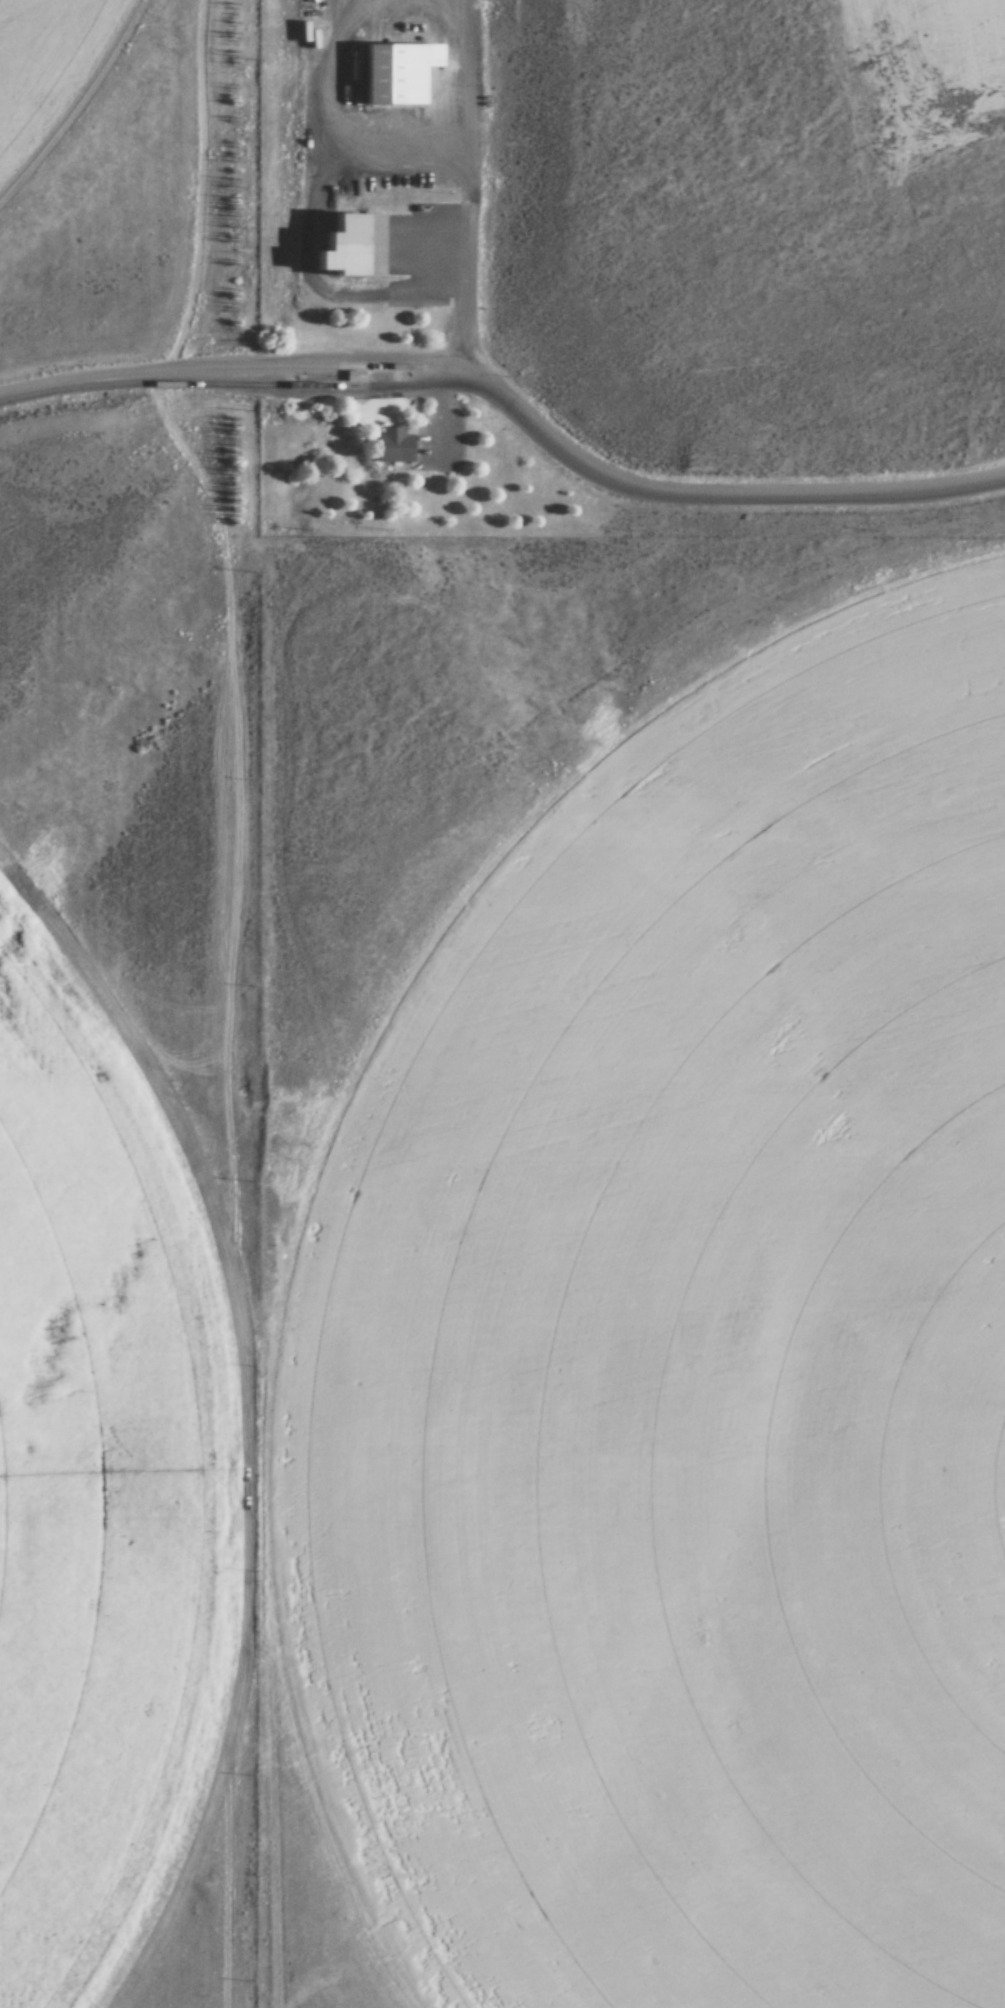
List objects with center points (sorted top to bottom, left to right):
building: (389, 72)
crop: (75, 101)
building: (333, 245)
building: (391, 446)
crop: (712, 1402)
crop: (131, 1494)

